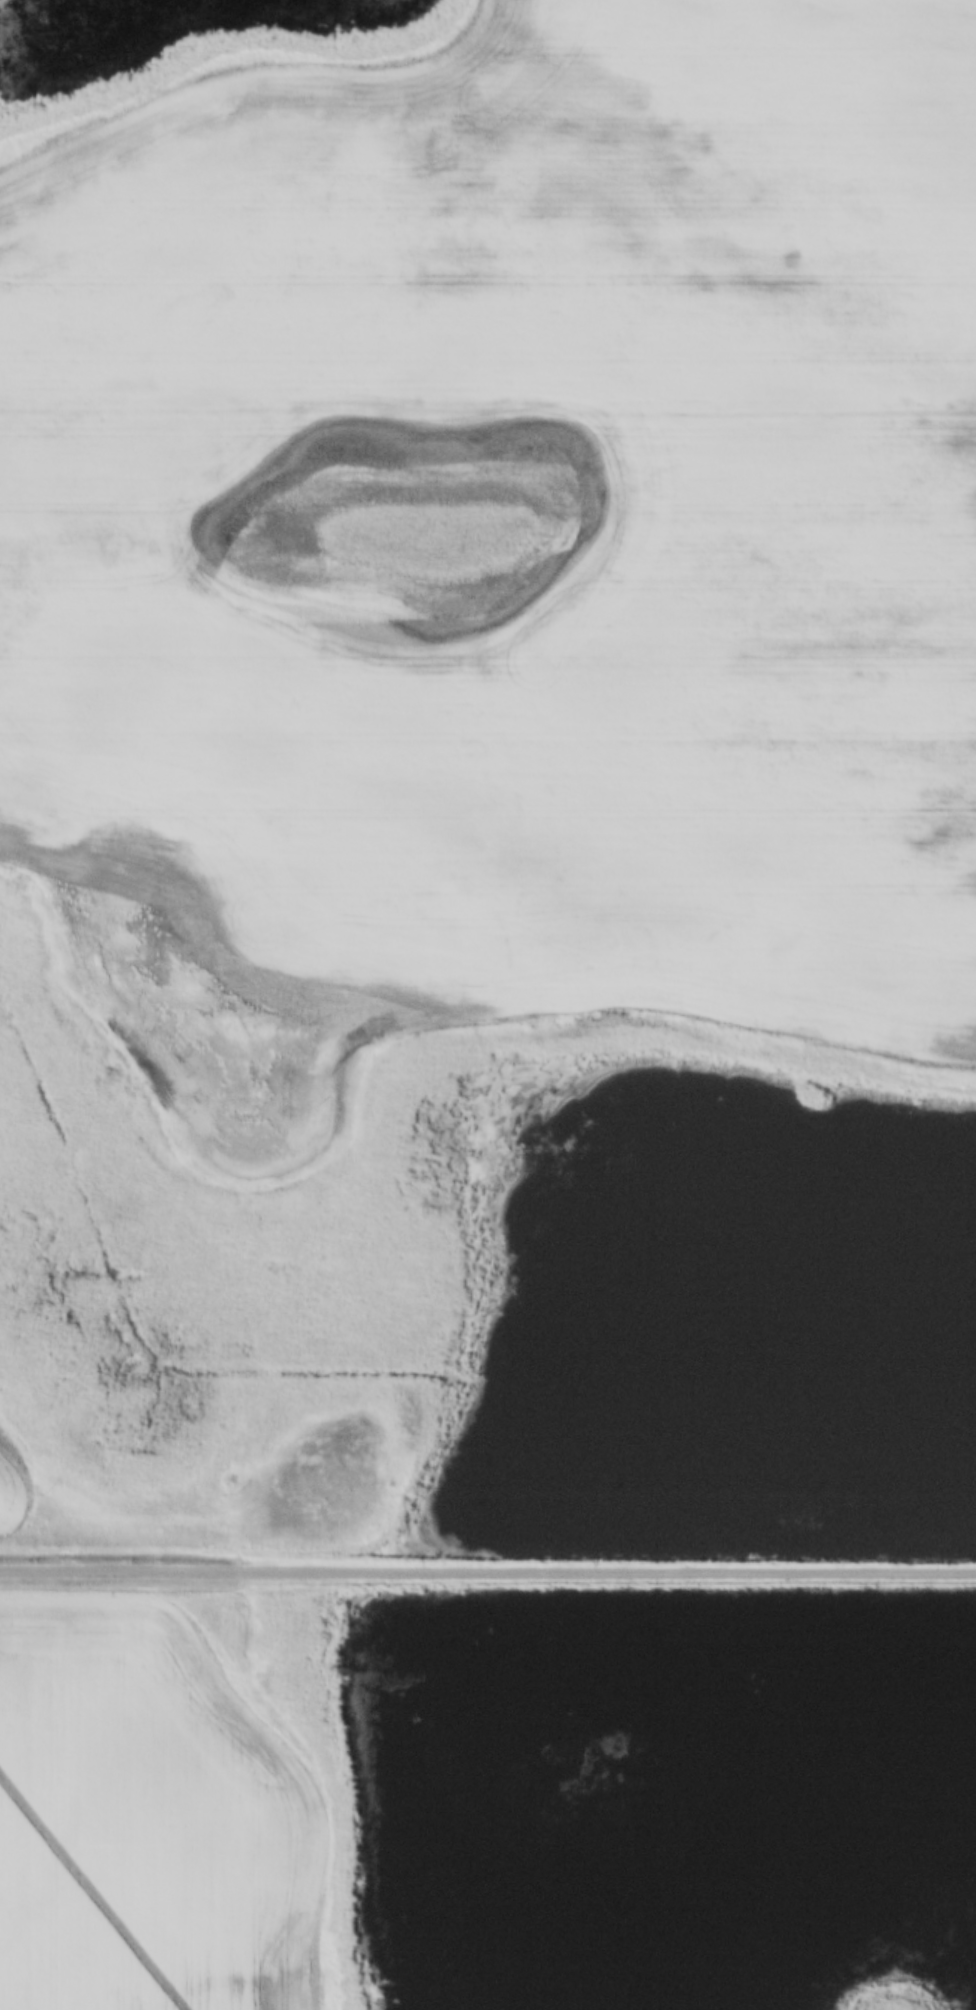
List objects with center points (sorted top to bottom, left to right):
road: (487, 1570)

